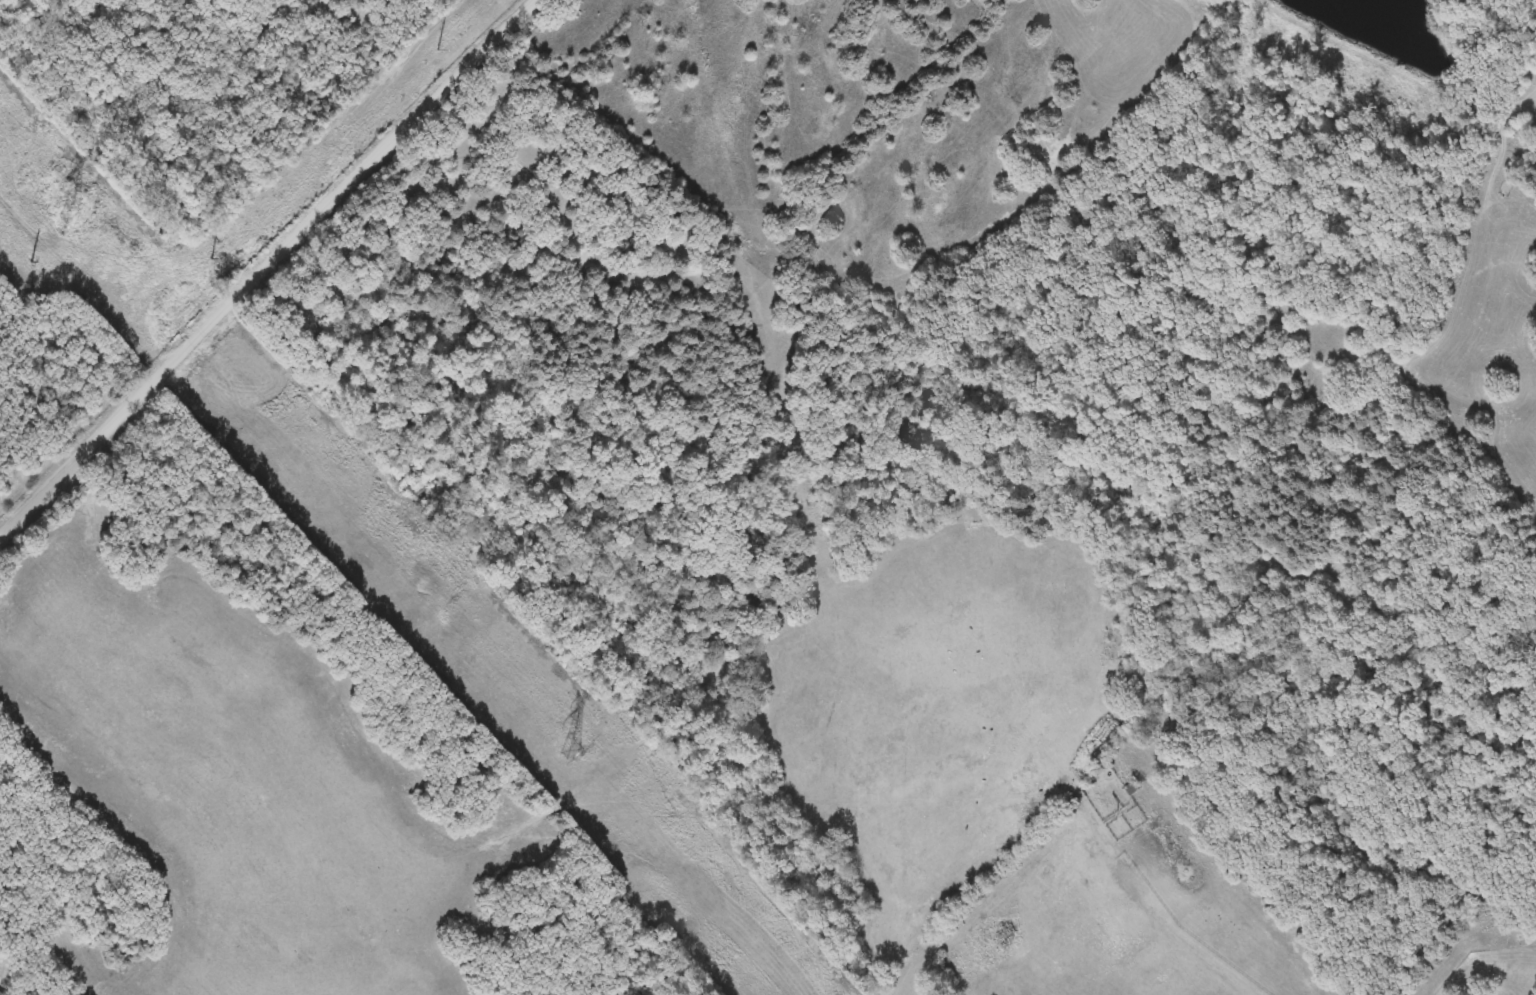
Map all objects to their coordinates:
power tower: (64, 215)
road: (263, 267)
power tower: (569, 748)
building: (1133, 789)
road: (1205, 953)
building: (0, 994)

